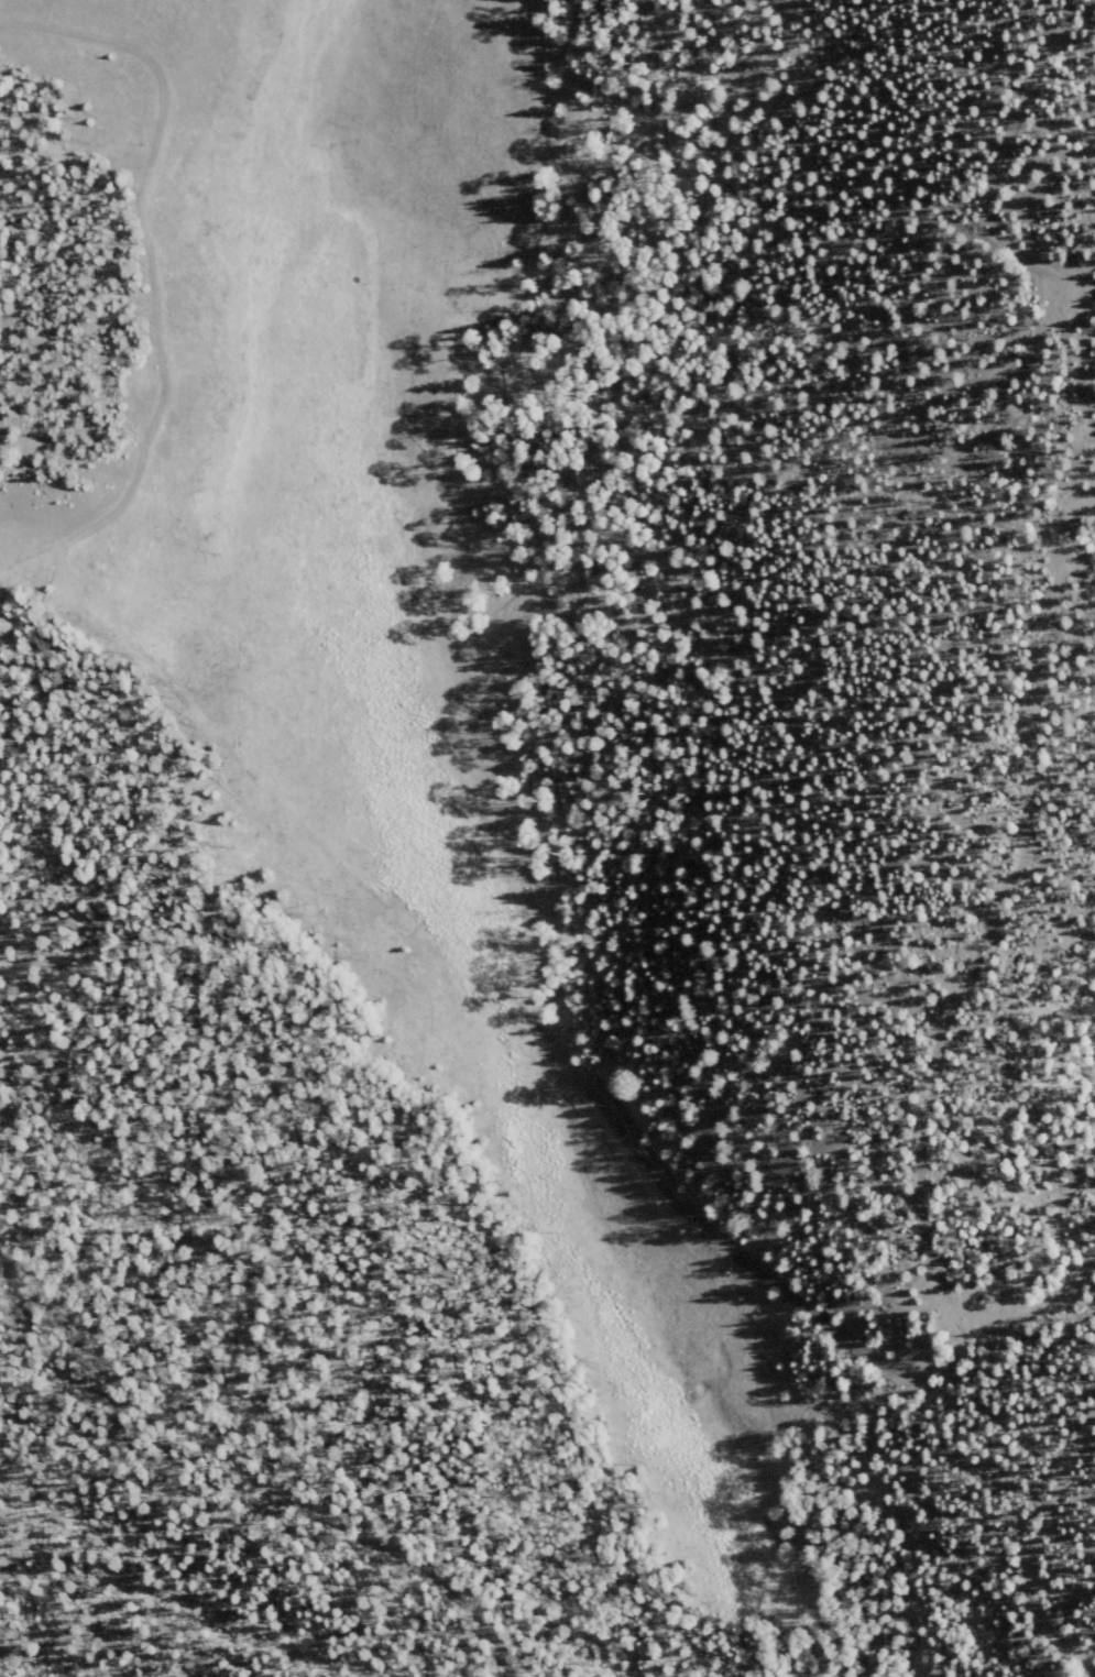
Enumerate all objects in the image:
road: (225, 1434)
road: (1084, 1624)

